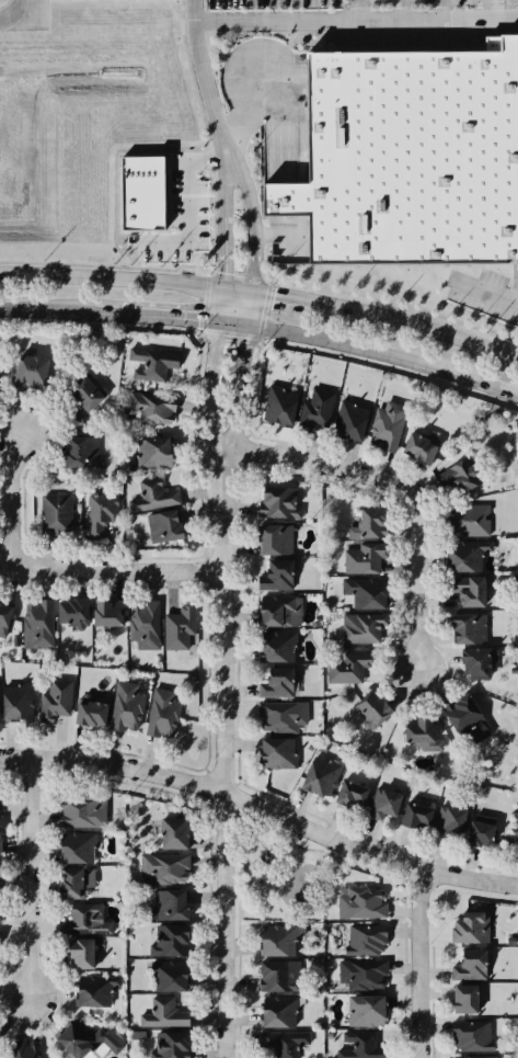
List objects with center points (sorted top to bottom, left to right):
parking lot: (353, 4)
road: (359, 10)
road: (399, 10)
road: (444, 10)
road: (481, 10)
road: (14, 14)
road: (356, 21)
road: (203, 66)
building: (407, 155)
building: (141, 193)
road: (185, 204)
road: (222, 211)
road: (251, 211)
road: (111, 281)
traffic signals: (222, 292)
road: (485, 293)
road: (238, 294)
traffic signals: (253, 296)
road: (284, 300)
road: (45, 312)
road: (169, 320)
traffic signals: (218, 325)
road: (417, 328)
traffic signals: (248, 329)
road: (384, 354)
building: (152, 363)
building: (31, 371)
road: (210, 372)
road: (241, 374)
building: (83, 395)
building: (279, 407)
building: (150, 408)
building: (316, 410)
building: (350, 422)
building: (387, 425)
building: (421, 447)
building: (81, 452)
building: (152, 455)
building: (458, 477)
road: (407, 486)
building: (153, 496)
building: (278, 503)
building: (100, 513)
building: (56, 514)
building: (468, 521)
building: (369, 524)
building: (164, 526)
building: (275, 539)
building: (467, 555)
building: (365, 558)
road: (58, 567)
building: (276, 576)
building: (469, 590)
building: (366, 592)
building: (279, 611)
building: (72, 613)
building: (107, 613)
building: (4, 618)
building: (37, 624)
building: (145, 624)
building: (361, 627)
building: (179, 628)
building: (469, 628)
building: (277, 647)
building: (479, 662)
building: (347, 668)
building: (277, 684)
building: (56, 699)
building: (16, 703)
building: (126, 707)
building: (371, 710)
building: (90, 712)
building: (162, 714)
building: (463, 715)
building: (281, 716)
building: (423, 735)
building: (278, 753)
road: (230, 754)
building: (322, 775)
road: (220, 788)
building: (350, 795)
building: (383, 804)
building: (82, 811)
building: (416, 817)
building: (449, 821)
building: (481, 831)
building: (174, 833)
building: (77, 847)
building: (0, 866)
building: (163, 868)
road: (30, 877)
road: (472, 881)
building: (74, 883)
building: (360, 902)
building: (168, 906)
building: (84, 920)
building: (471, 928)
building: (365, 940)
building: (170, 941)
building: (280, 941)
building: (80, 954)
road: (428, 965)
building: (470, 966)
building: (362, 975)
building: (170, 976)
building: (278, 976)
building: (95, 990)
building: (464, 999)
building: (279, 1011)
building: (367, 1011)
building: (164, 1014)
building: (1, 1035)
building: (471, 1036)
building: (88, 1040)
building: (284, 1043)
building: (171, 1045)
building: (361, 1046)
building: (26, 1049)
building: (474, 1057)

